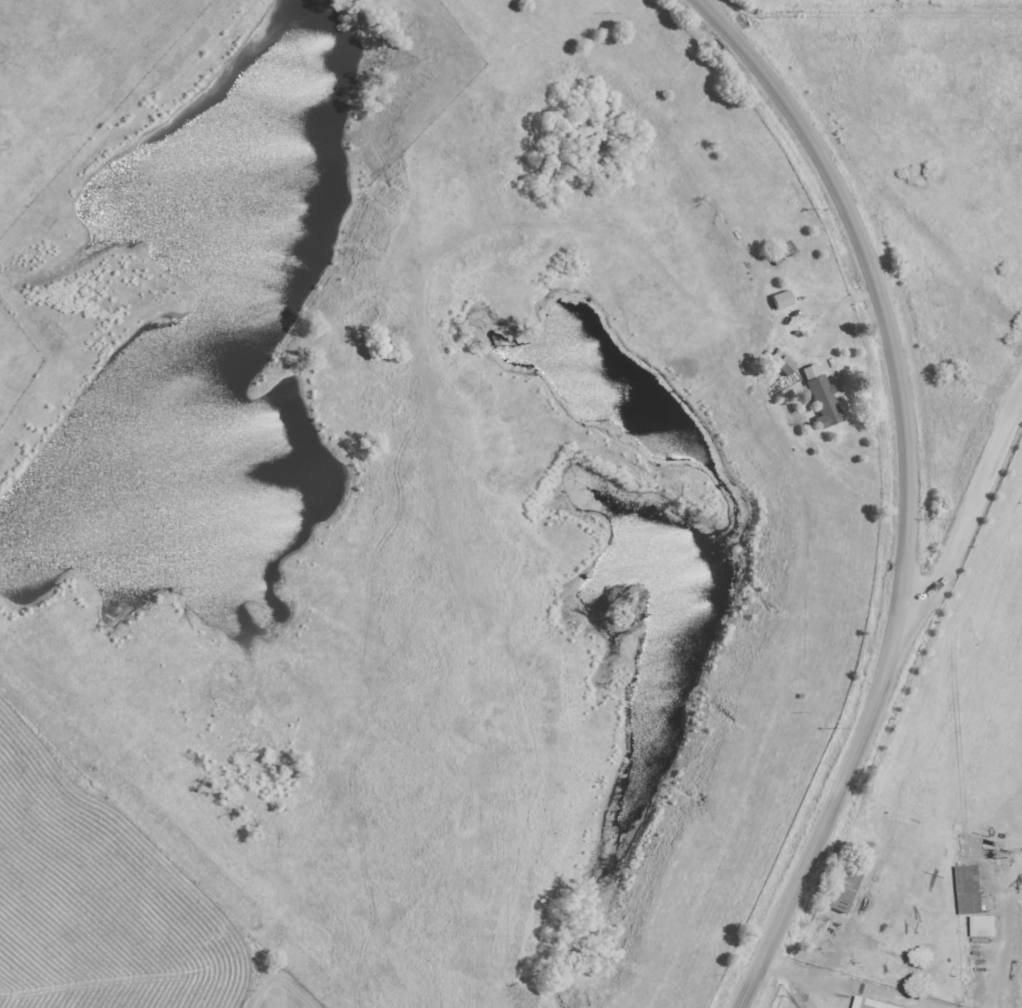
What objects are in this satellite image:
building: (783, 366)
building: (821, 402)
road: (910, 492)
road: (967, 520)
building: (845, 884)
building: (984, 926)

